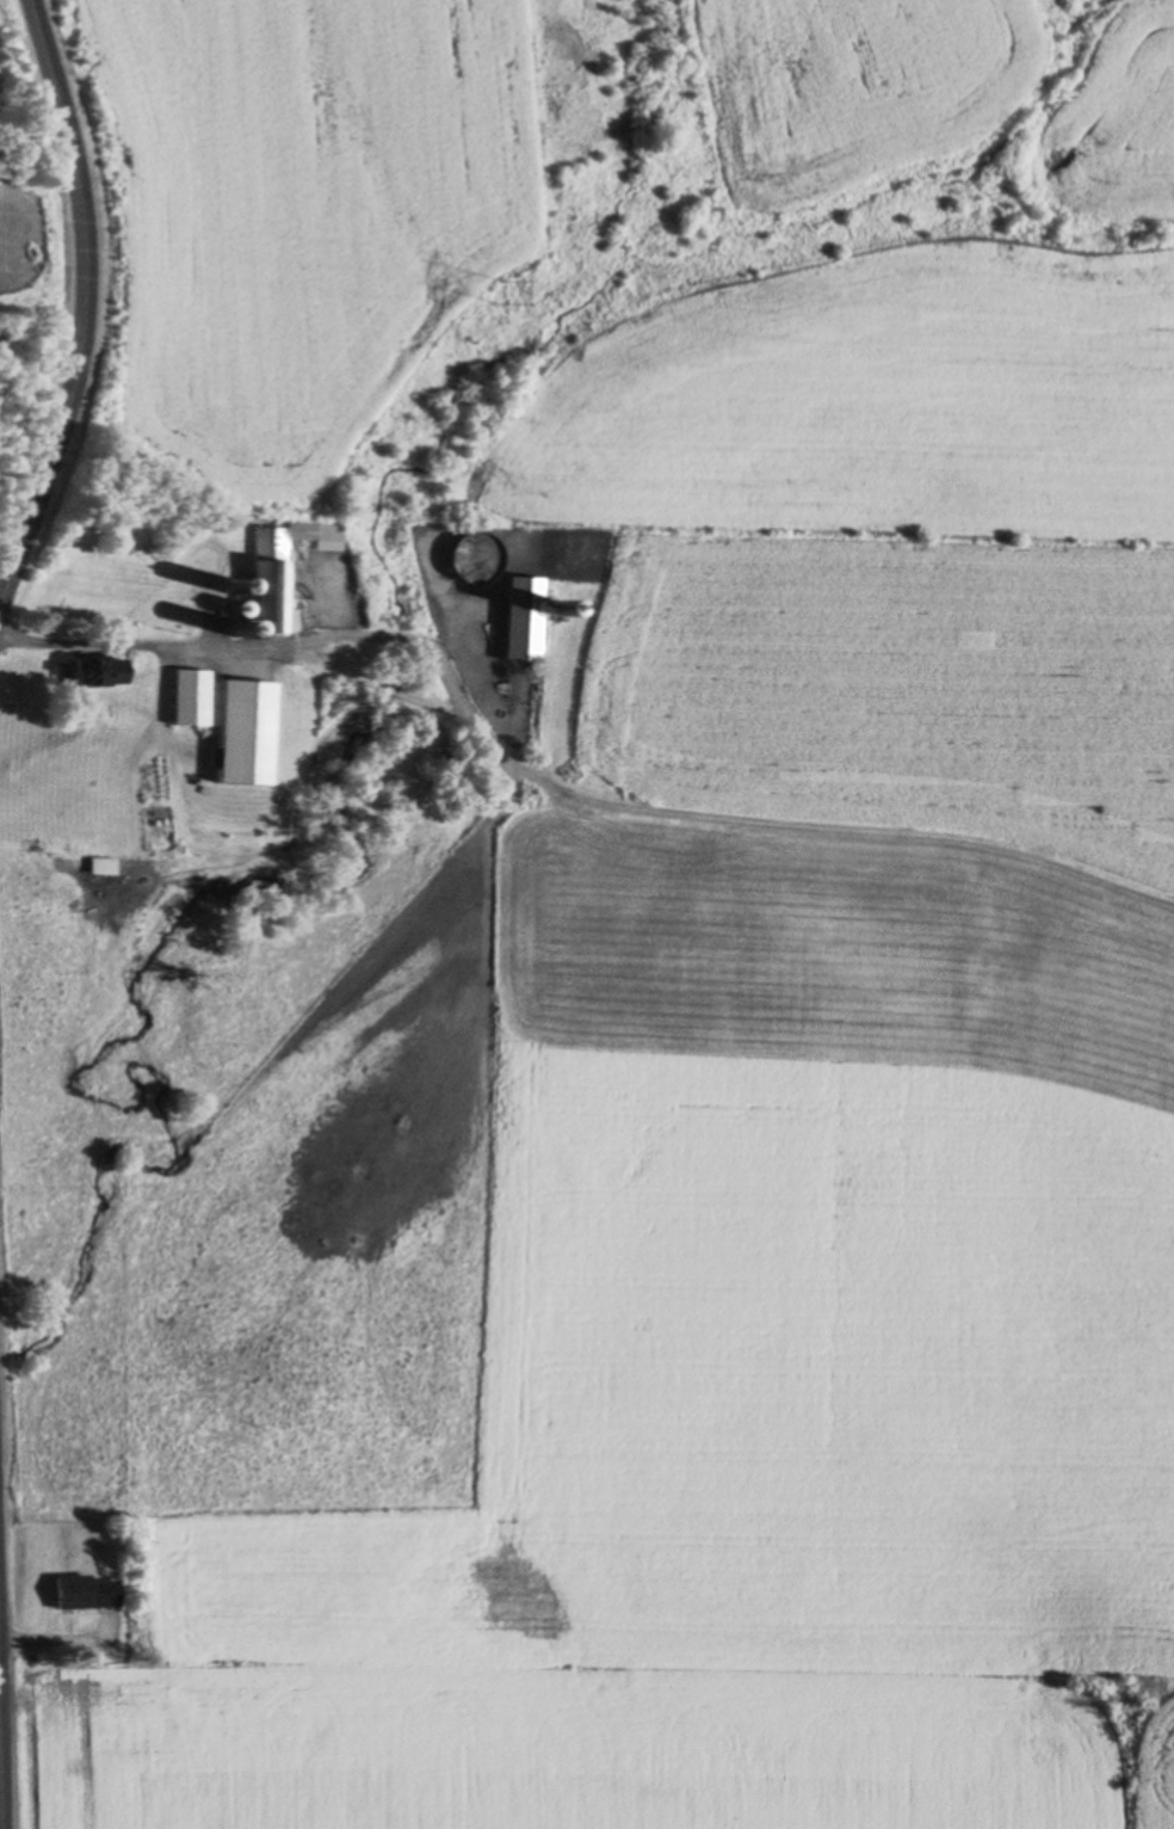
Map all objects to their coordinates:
power tower: (492, 294)
road: (85, 306)
building: (468, 560)
building: (277, 571)
building: (519, 618)
road: (112, 636)
building: (97, 661)
building: (189, 688)
building: (243, 723)
building: (85, 1588)
road: (0, 1793)

